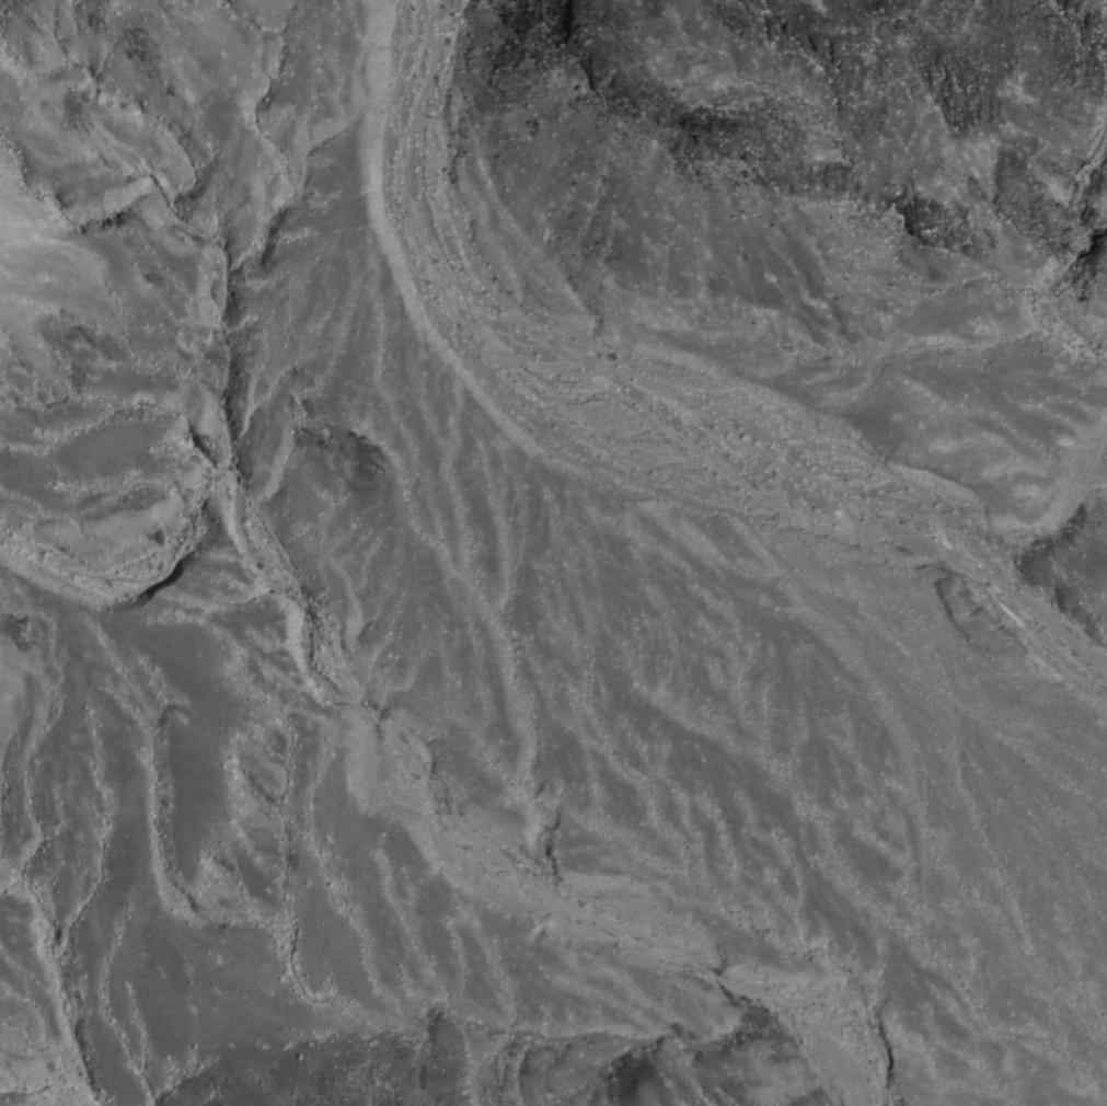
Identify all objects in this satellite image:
road: (661, 543)

